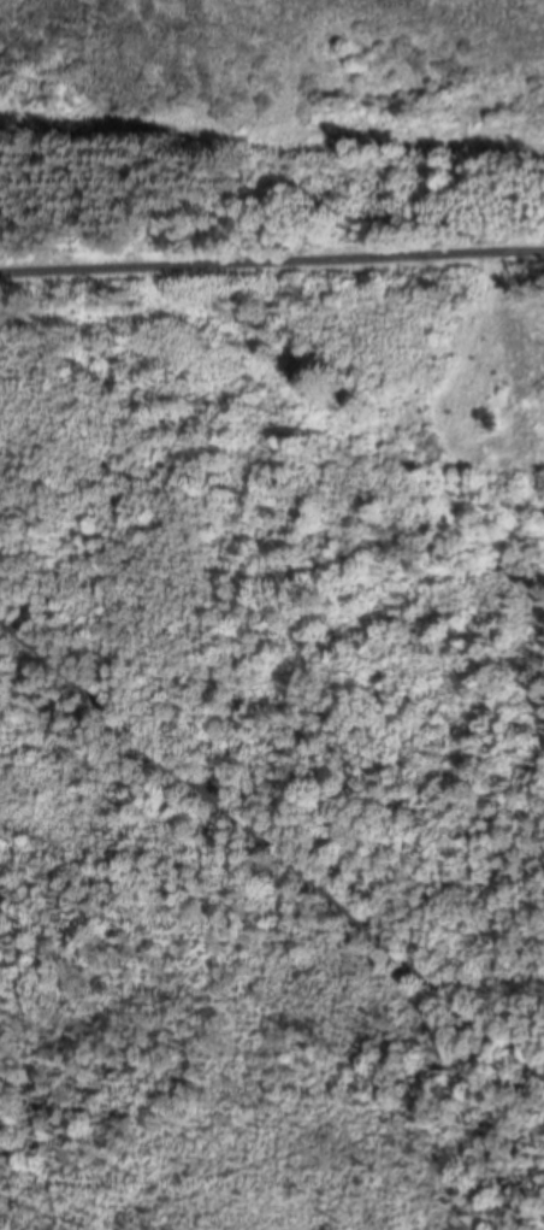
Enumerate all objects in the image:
road: (272, 260)
road: (272, 843)

